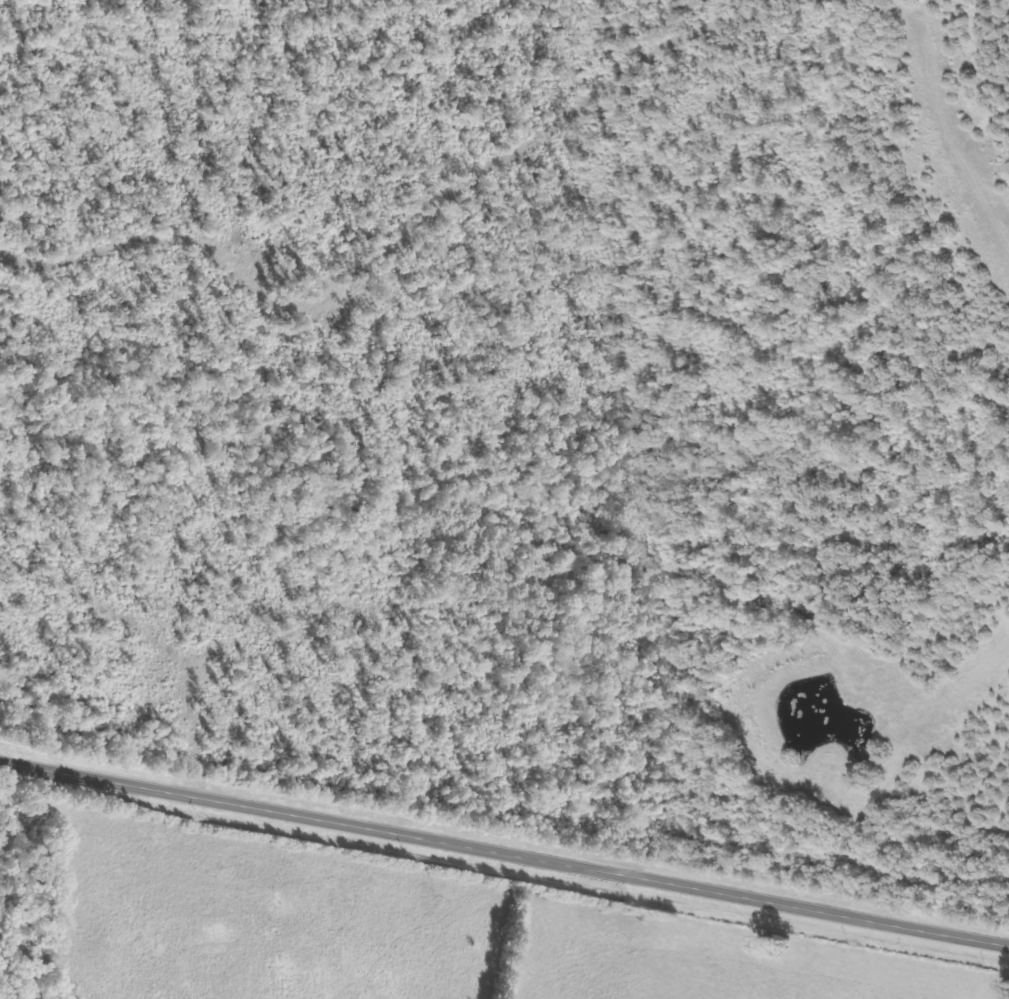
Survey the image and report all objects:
road: (504, 853)

